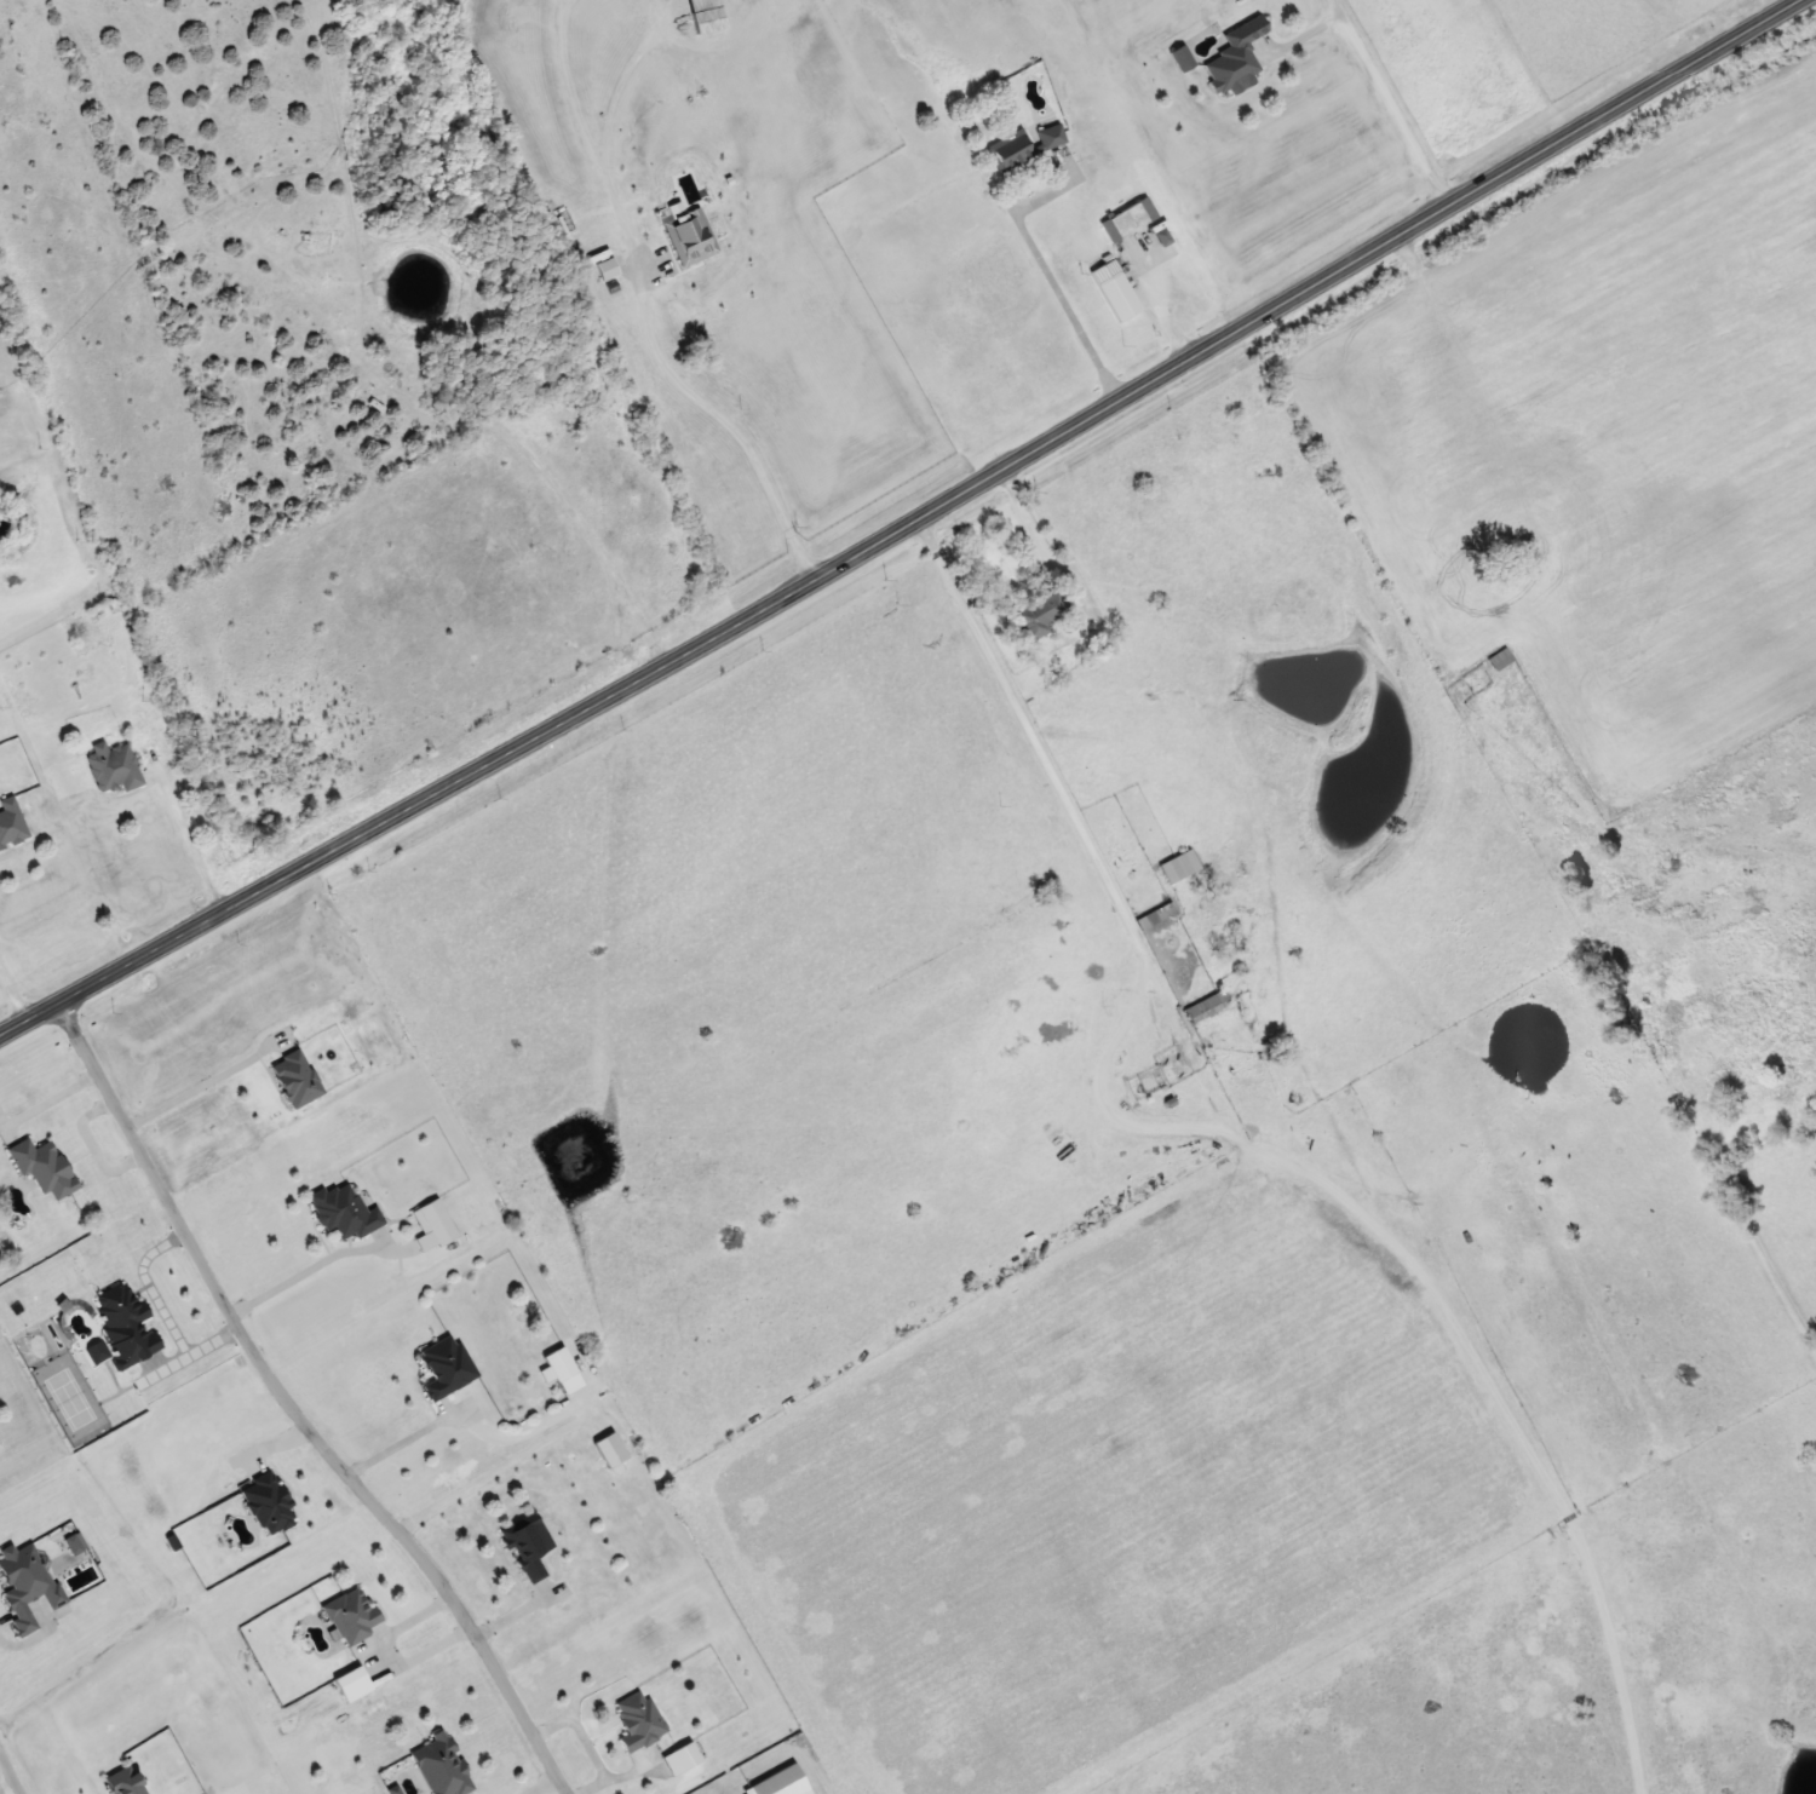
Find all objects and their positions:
building: (1236, 57)
building: (1182, 58)
building: (1052, 137)
building: (1011, 151)
building: (1128, 219)
building: (691, 236)
building: (610, 268)
building: (1115, 291)
road: (900, 525)
building: (1041, 613)
building: (1500, 659)
road: (1046, 765)
building: (114, 766)
building: (11, 821)
building: (1179, 866)
building: (1155, 915)
building: (1205, 1007)
building: (44, 1166)
building: (345, 1212)
building: (437, 1223)
building: (121, 1311)
building: (98, 1352)
building: (561, 1364)
building: (447, 1365)
road: (297, 1408)
building: (611, 1449)
building: (529, 1545)
building: (27, 1583)
building: (352, 1615)
building: (639, 1720)
building: (442, 1765)
road: (11, 1772)
building: (126, 1782)

